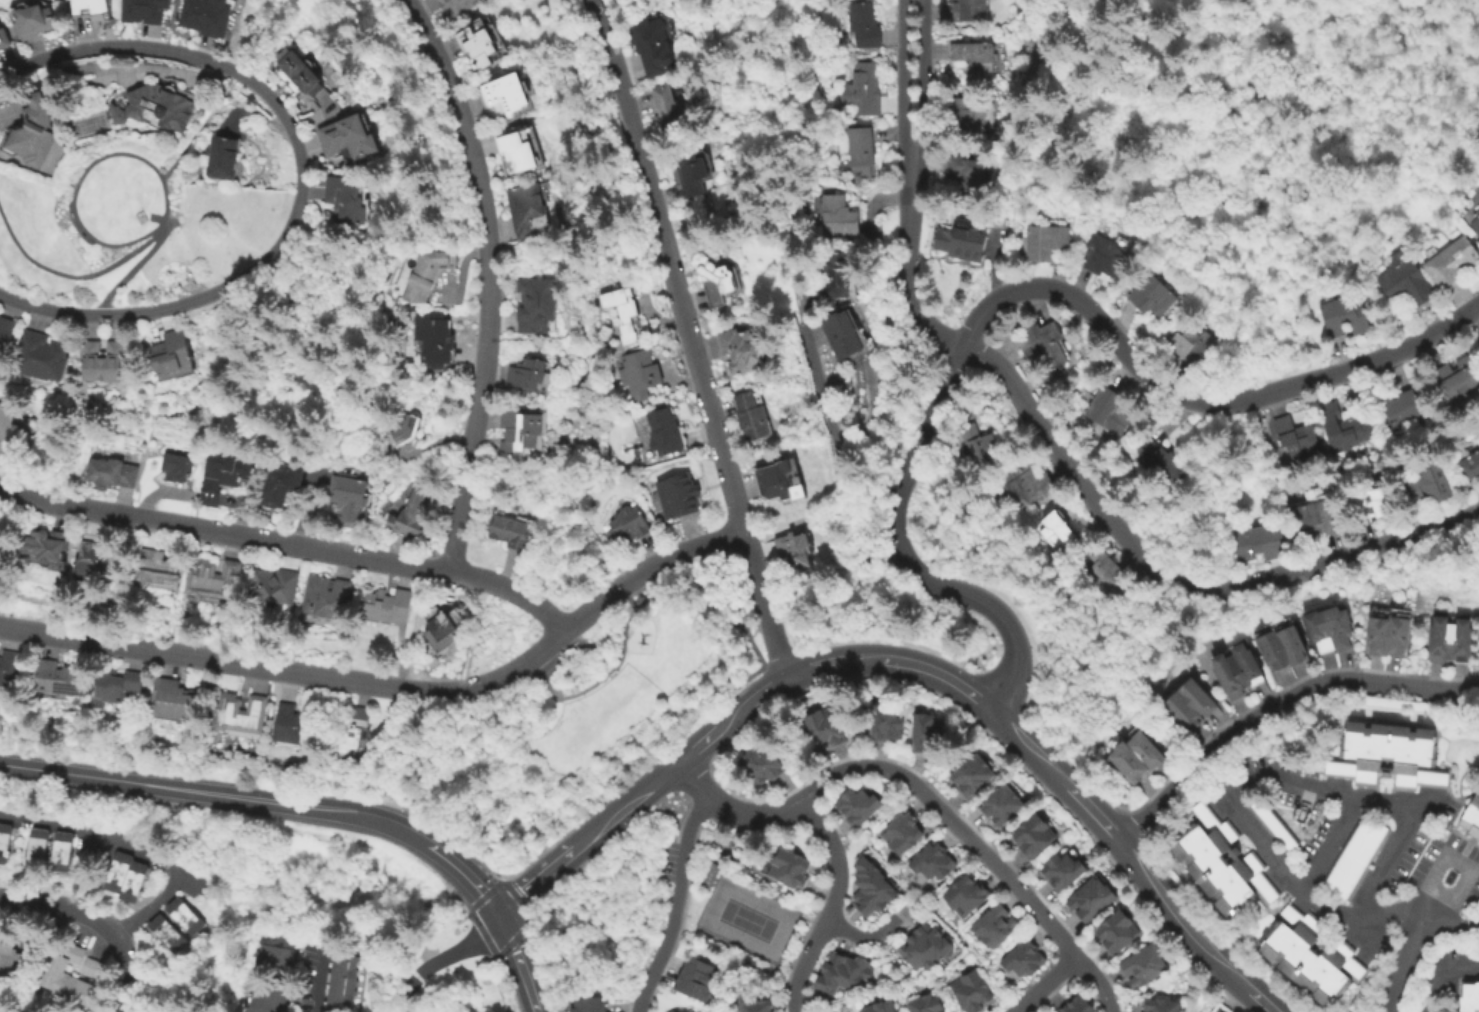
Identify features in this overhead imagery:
building: (459, 6)
building: (89, 9)
building: (147, 10)
building: (969, 11)
building: (204, 16)
building: (30, 18)
building: (868, 25)
building: (4, 38)
building: (659, 43)
building: (479, 44)
building: (974, 57)
building: (302, 72)
road: (903, 77)
road: (925, 78)
building: (866, 89)
building: (514, 95)
building: (672, 107)
building: (153, 108)
building: (969, 113)
building: (29, 132)
building: (353, 138)
building: (866, 151)
building: (519, 152)
building: (221, 157)
building: (696, 174)
building: (968, 174)
road: (296, 175)
road: (82, 177)
building: (350, 199)
building: (527, 210)
building: (844, 216)
building: (142, 217)
park: (128, 222)
building: (1476, 225)
road: (52, 232)
building: (962, 242)
building: (1045, 242)
building: (1103, 256)
road: (909, 261)
building: (1450, 262)
road: (131, 273)
building: (430, 273)
building: (836, 277)
road: (72, 278)
building: (717, 279)
road: (488, 280)
building: (1405, 281)
road: (1015, 292)
building: (1152, 297)
building: (543, 306)
building: (630, 310)
building: (1344, 316)
building: (5, 331)
building: (849, 335)
building: (437, 337)
road: (687, 337)
building: (1044, 342)
building: (1192, 346)
building: (174, 349)
building: (746, 349)
building: (41, 356)
building: (104, 359)
road: (327, 367)
building: (533, 372)
building: (640, 376)
building: (1458, 377)
building: (1405, 406)
building: (1108, 410)
building: (751, 417)
building: (7, 422)
building: (407, 427)
building: (1343, 427)
building: (526, 429)
building: (664, 433)
building: (1297, 438)
building: (976, 443)
building: (1160, 460)
road: (836, 461)
building: (1469, 464)
building: (178, 469)
building: (112, 471)
building: (222, 476)
building: (791, 481)
building: (282, 482)
building: (1026, 482)
building: (1429, 482)
building: (681, 496)
building: (351, 499)
building: (998, 500)
building: (1369, 502)
building: (414, 514)
building: (1314, 517)
building: (625, 528)
building: (1055, 528)
building: (514, 530)
building: (1258, 542)
building: (1, 546)
building: (46, 546)
road: (289, 546)
building: (803, 548)
building: (96, 563)
building: (156, 570)
building: (1106, 570)
building: (212, 578)
road: (653, 579)
road: (1174, 583)
building: (275, 585)
road: (725, 596)
building: (327, 597)
building: (389, 606)
building: (1329, 628)
building: (1389, 631)
building: (441, 632)
building: (1438, 639)
building: (1459, 640)
building: (1281, 643)
building: (8, 667)
building: (1237, 669)
building: (56, 681)
road: (548, 681)
building: (113, 689)
road: (393, 689)
building: (169, 699)
building: (1189, 704)
road: (1279, 709)
building: (237, 714)
building: (884, 722)
park: (575, 723)
building: (291, 724)
building: (824, 727)
building: (926, 731)
building: (350, 732)
road: (481, 749)
building: (1143, 749)
building: (1389, 755)
building: (1125, 761)
building: (760, 764)
road: (691, 775)
building: (972, 776)
road: (1057, 776)
road: (637, 792)
road: (217, 793)
road: (1400, 802)
building: (856, 805)
building: (1000, 805)
road: (753, 814)
building: (1472, 817)
road: (955, 820)
building: (1275, 825)
building: (901, 832)
building: (1033, 836)
building: (6, 842)
building: (49, 848)
road: (138, 850)
road: (836, 857)
building: (1356, 857)
building: (933, 861)
building: (1222, 862)
building: (789, 869)
building: (1063, 871)
road: (465, 874)
building: (125, 875)
road: (1289, 878)
building: (872, 888)
building: (965, 896)
building: (1091, 899)
road: (672, 903)
traffic signals: (495, 913)
park: (745, 920)
road: (98, 921)
building: (173, 924)
building: (994, 925)
road: (1454, 925)
building: (1117, 932)
road: (865, 936)
building: (925, 947)
building: (8, 951)
building: (1311, 955)
road: (437, 957)
building: (1024, 959)
building: (272, 961)
road: (515, 961)
road: (803, 965)
building: (1144, 965)
road: (1409, 965)
road: (1462, 967)
building: (90, 968)
building: (843, 973)
building: (66, 978)
building: (695, 979)
road: (1097, 980)
building: (340, 983)
road: (1042, 985)
road: (1162, 986)
building: (971, 992)
building: (1471, 997)
building: (264, 998)
building: (926, 1004)
building: (587, 1005)
building: (1076, 1005)
building: (1161, 1005)
road: (3, 1006)
building: (755, 1006)
building: (880, 1007)
road: (401, 1008)
building: (61, 1011)
building: (690, 1011)

